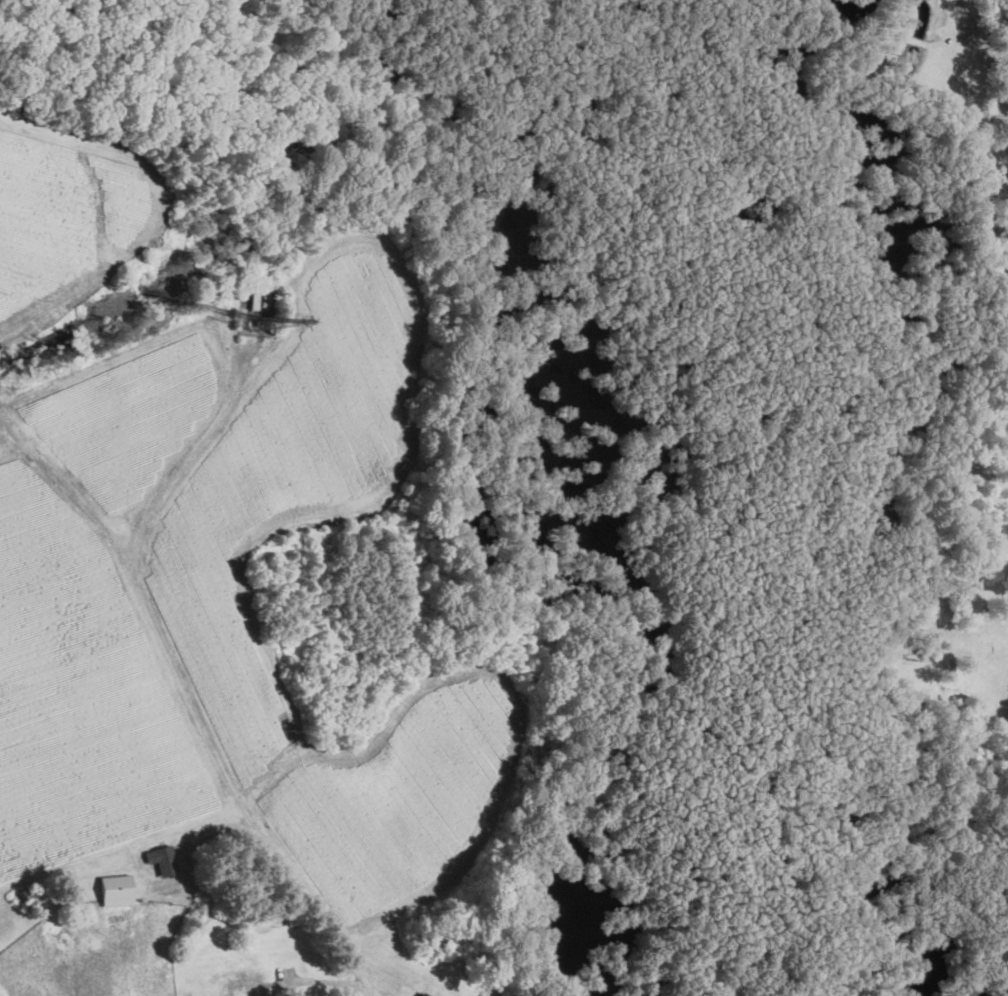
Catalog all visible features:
road: (187, 694)
building: (161, 858)
building: (114, 889)
building: (241, 985)
building: (420, 994)

